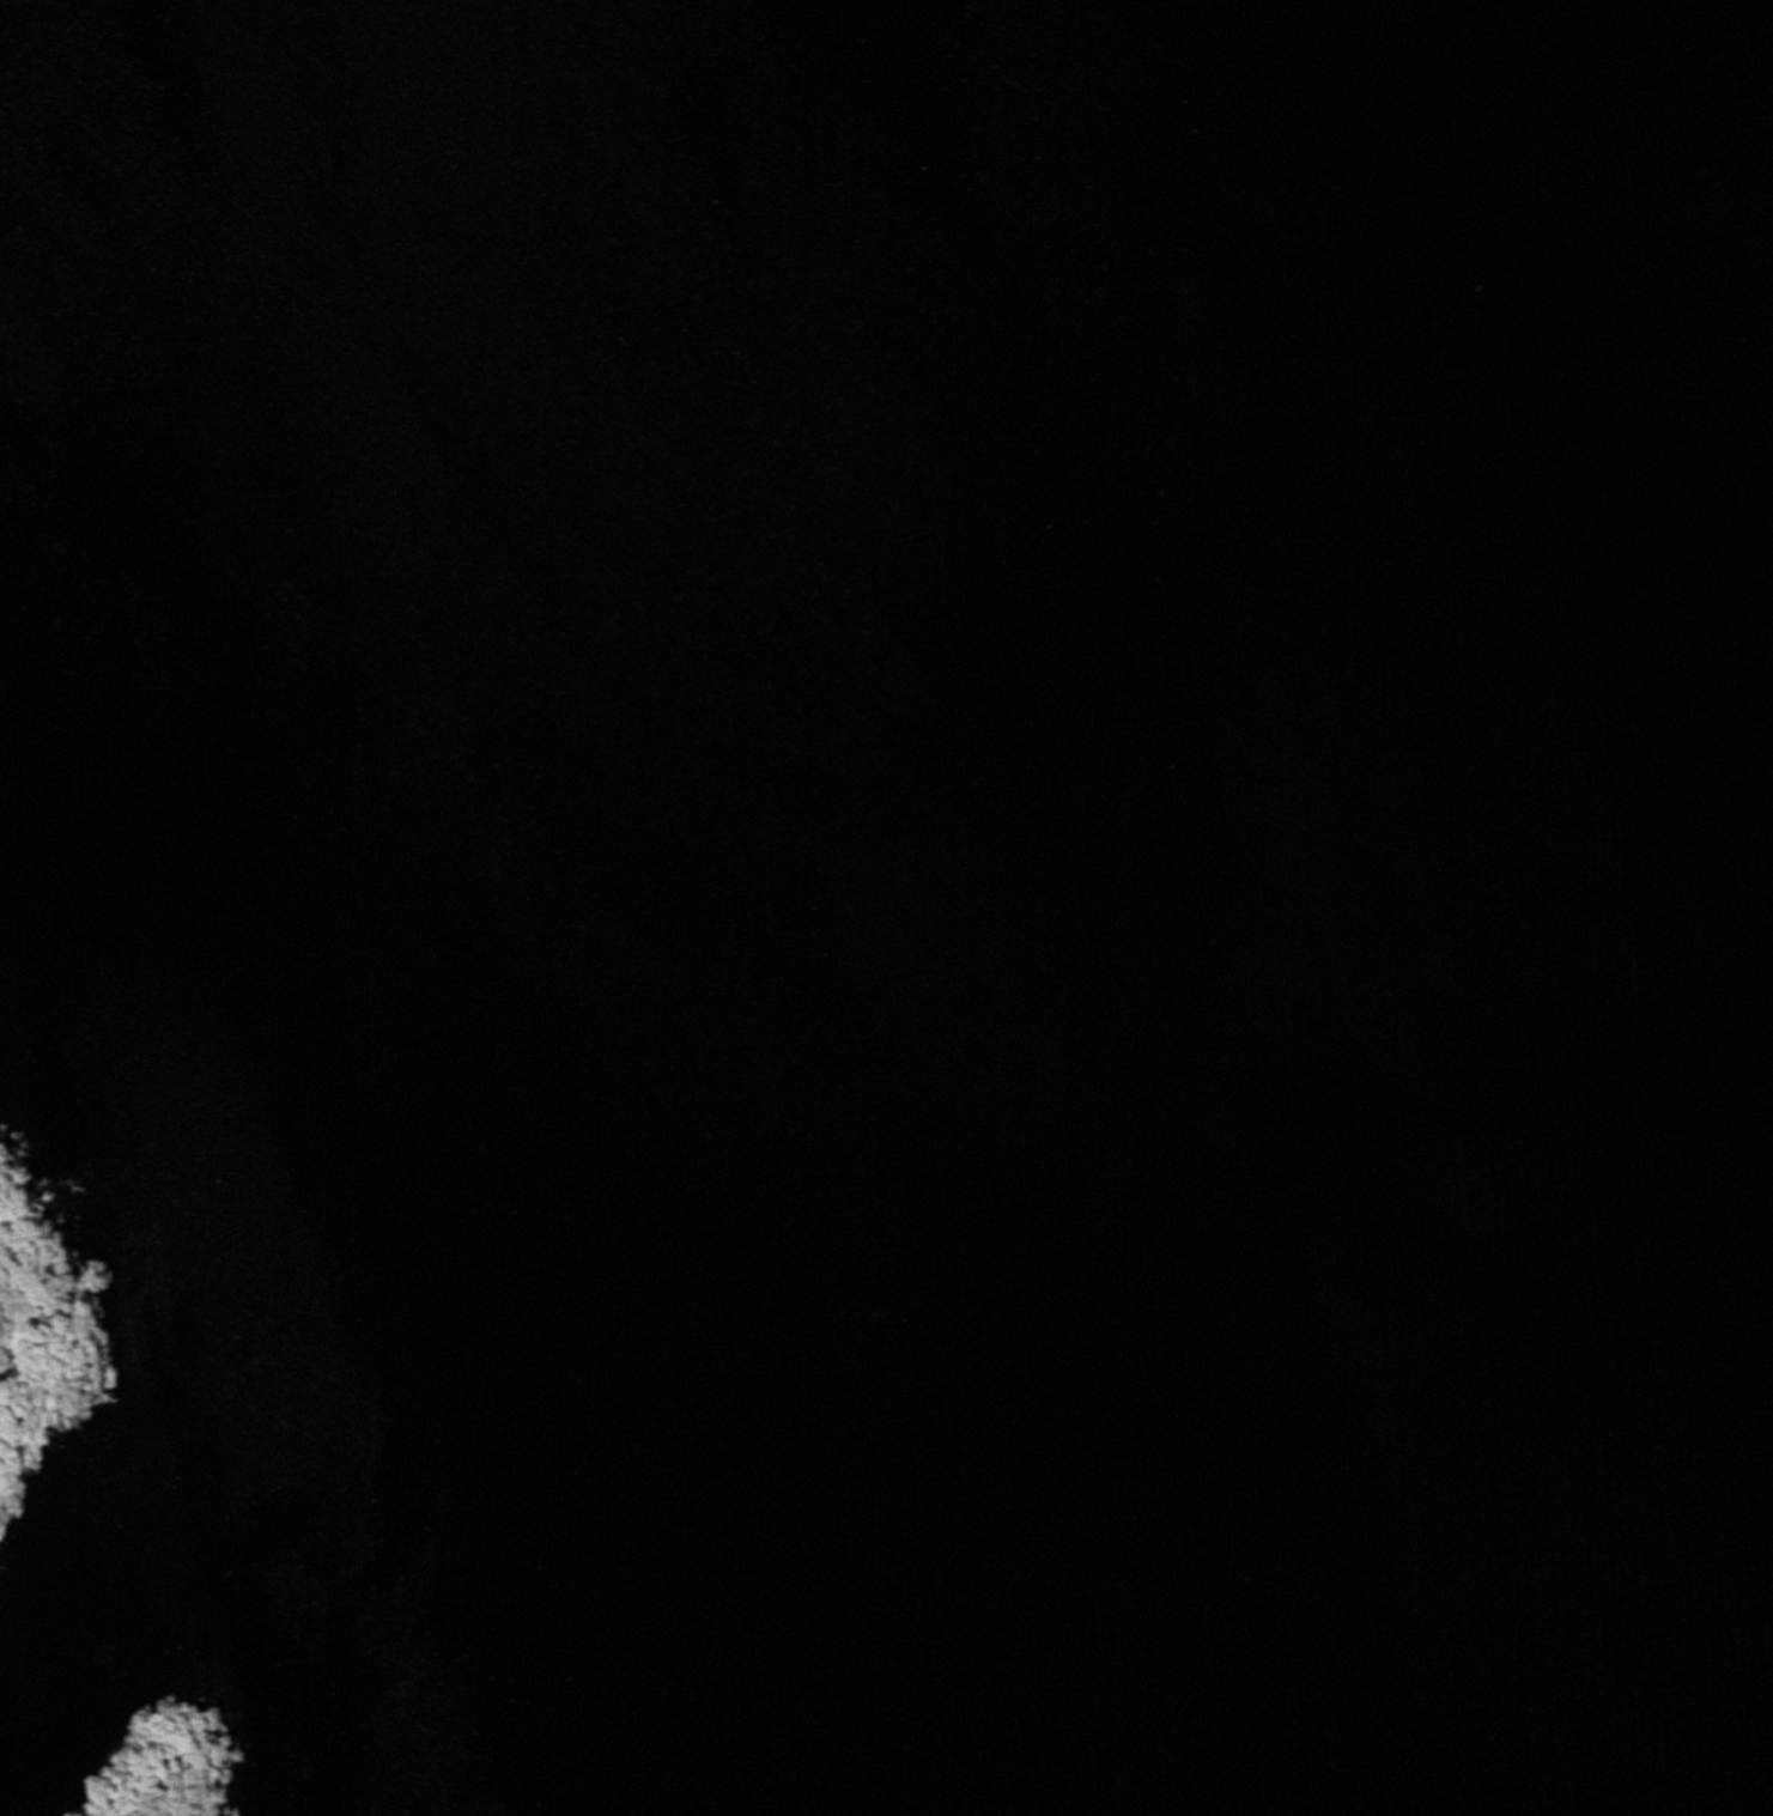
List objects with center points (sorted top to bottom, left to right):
river: (1733, 122)

